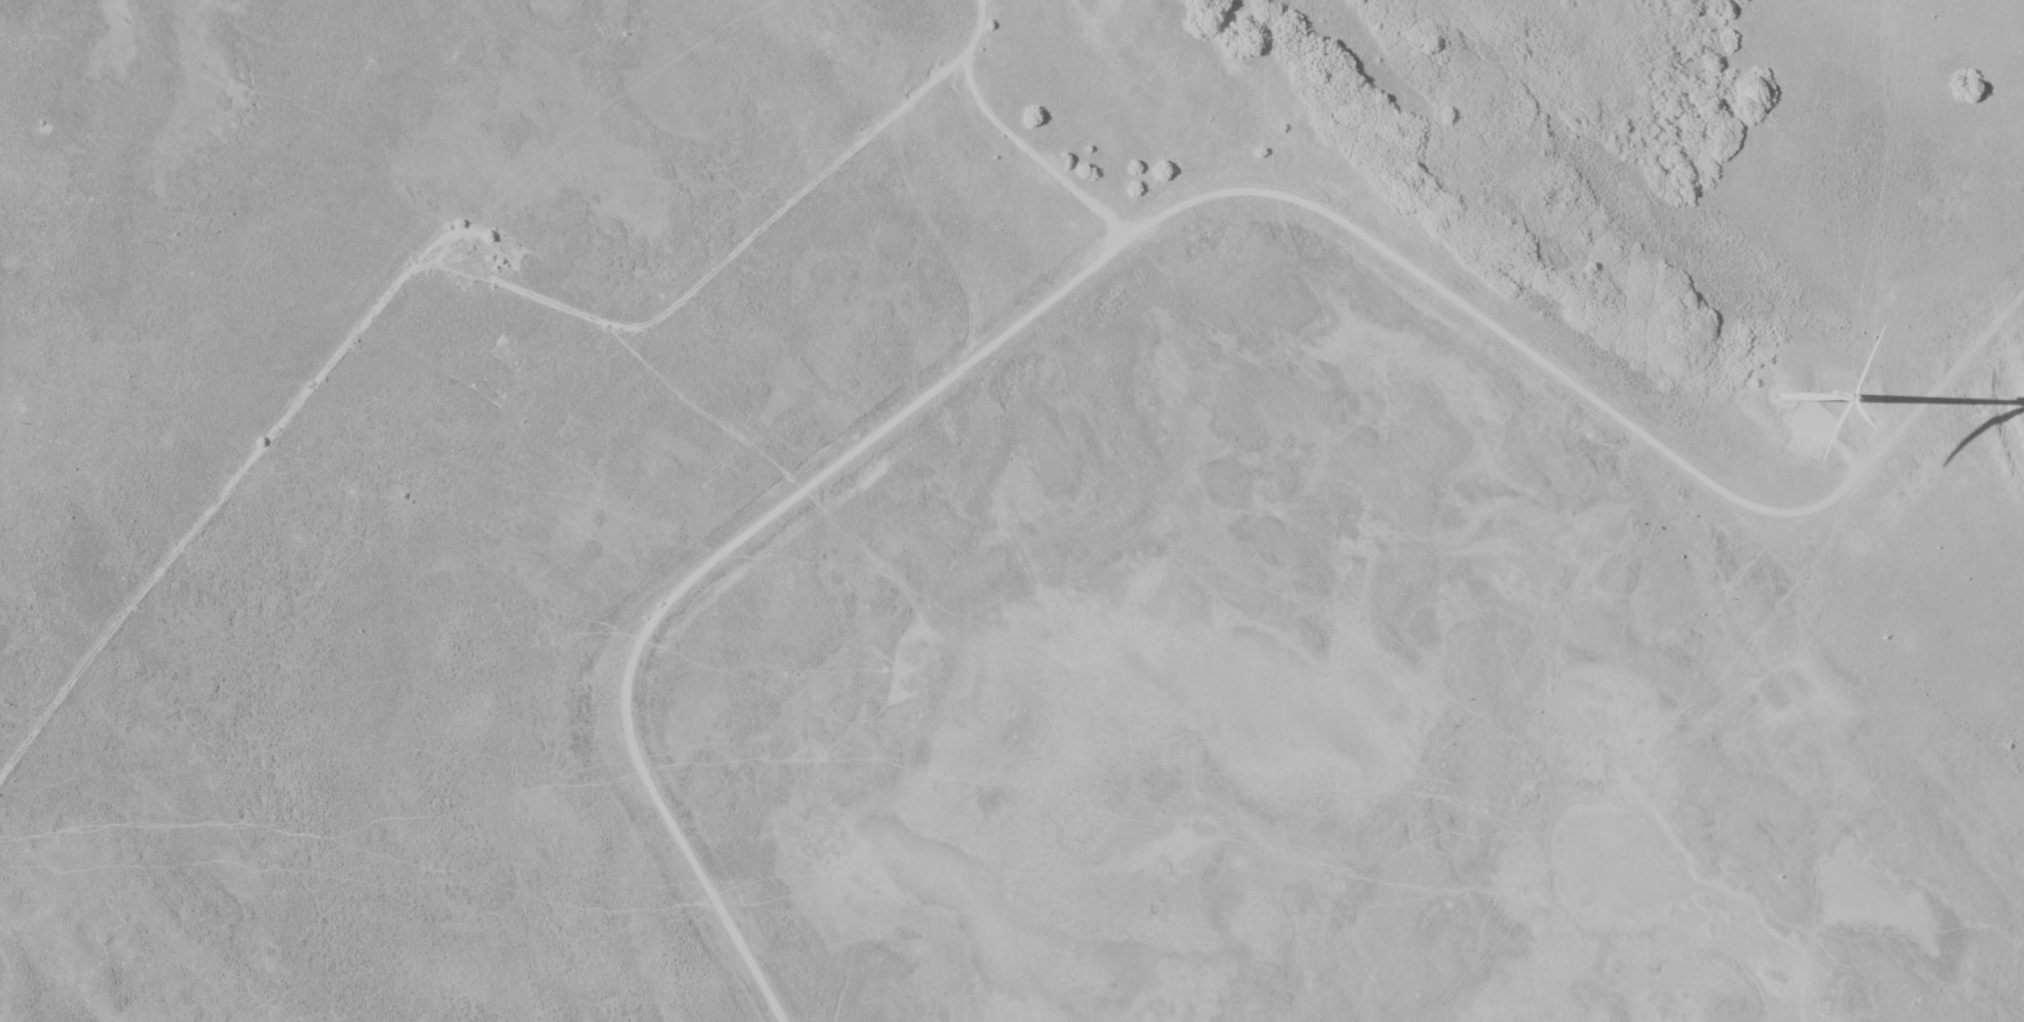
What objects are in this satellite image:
wind turbine: (1780, 399)

